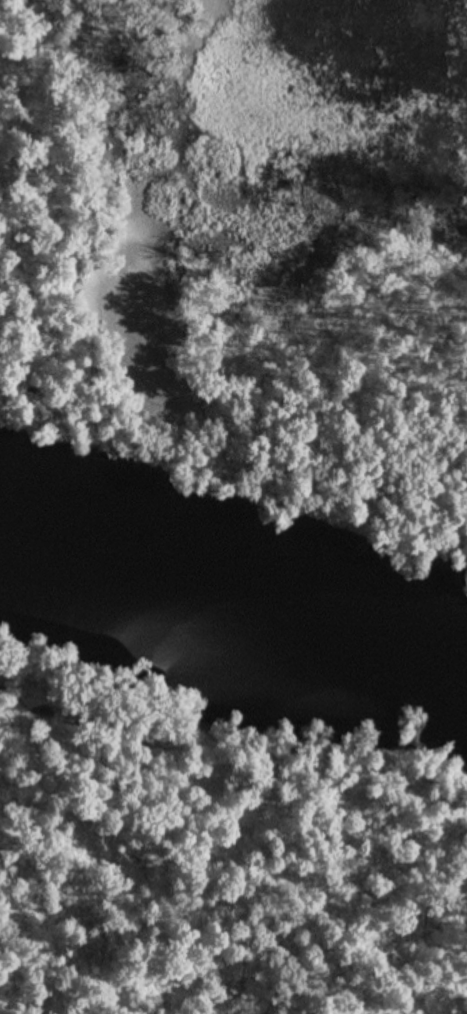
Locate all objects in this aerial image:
river: (235, 631)

